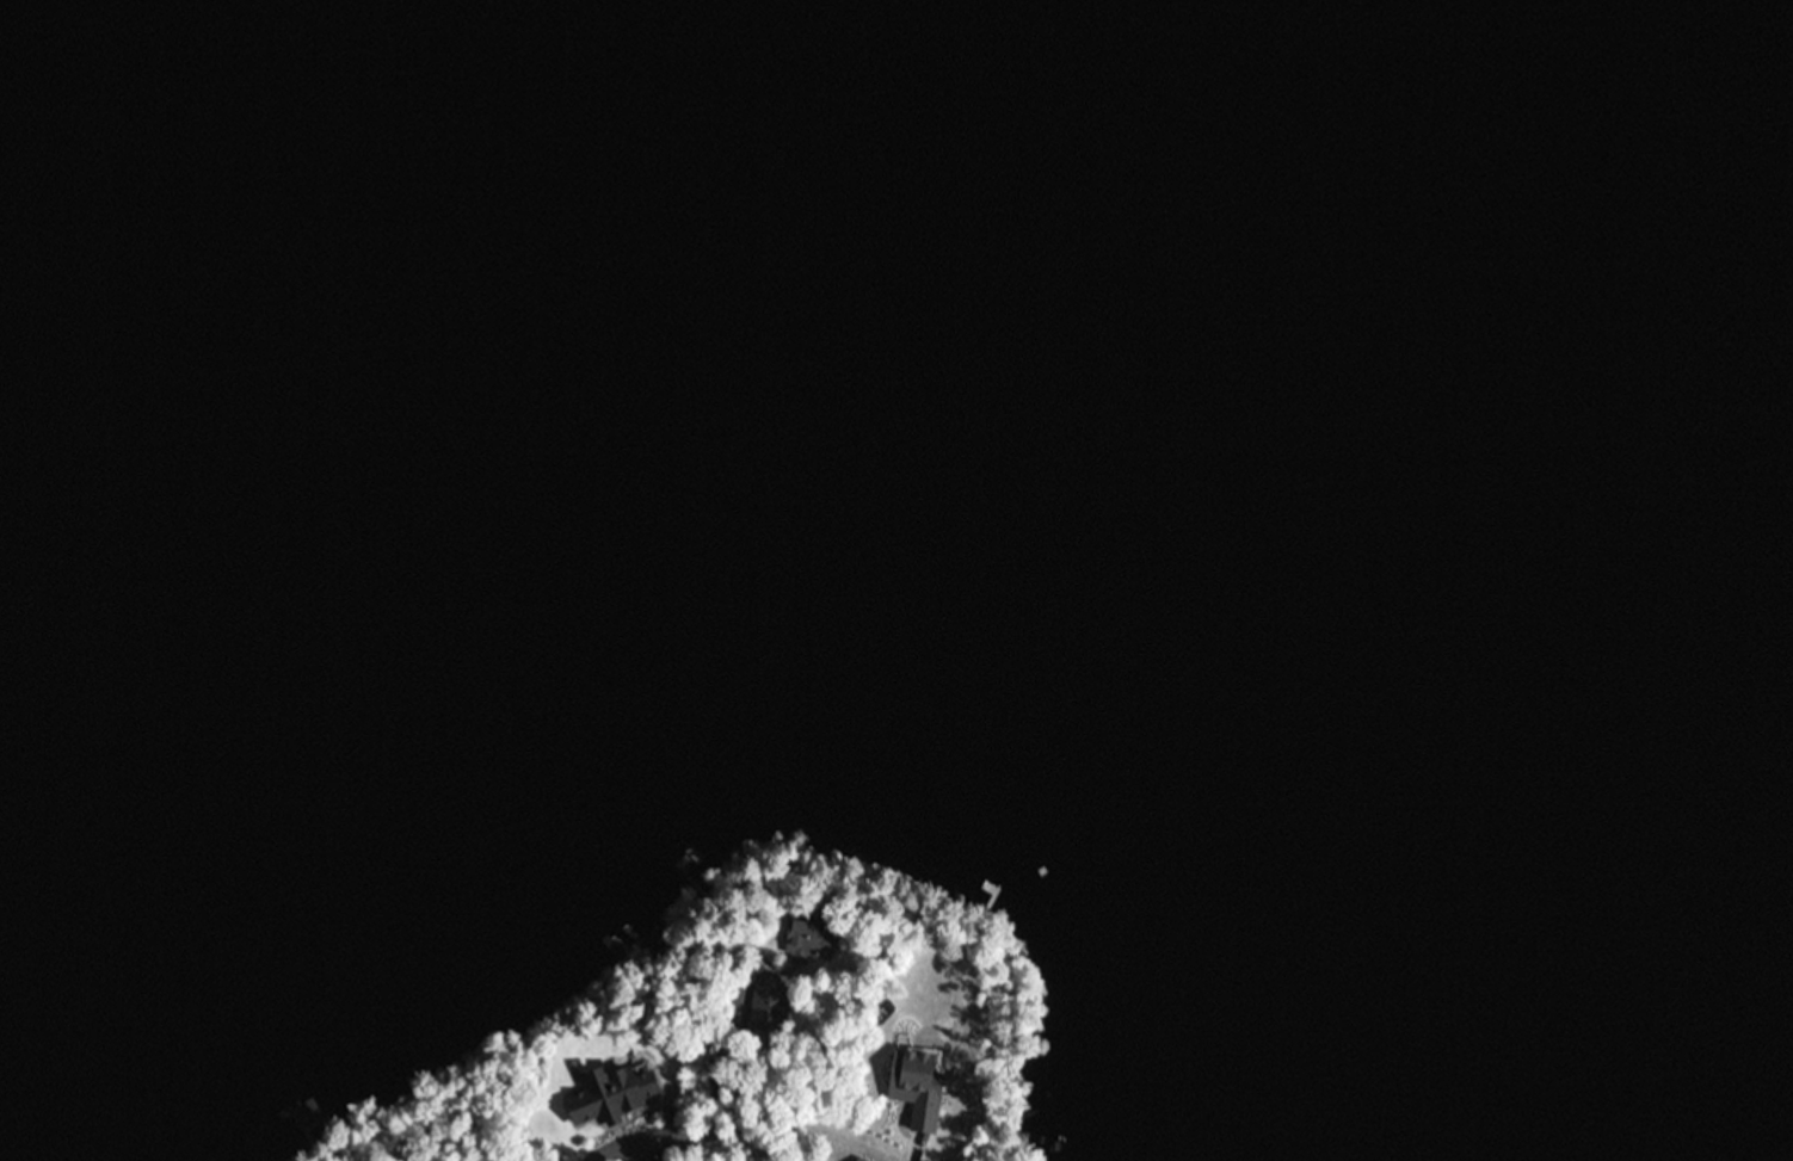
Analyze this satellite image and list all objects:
building: (688, 863)
building: (803, 933)
building: (768, 995)
building: (916, 1088)
building: (609, 1097)

